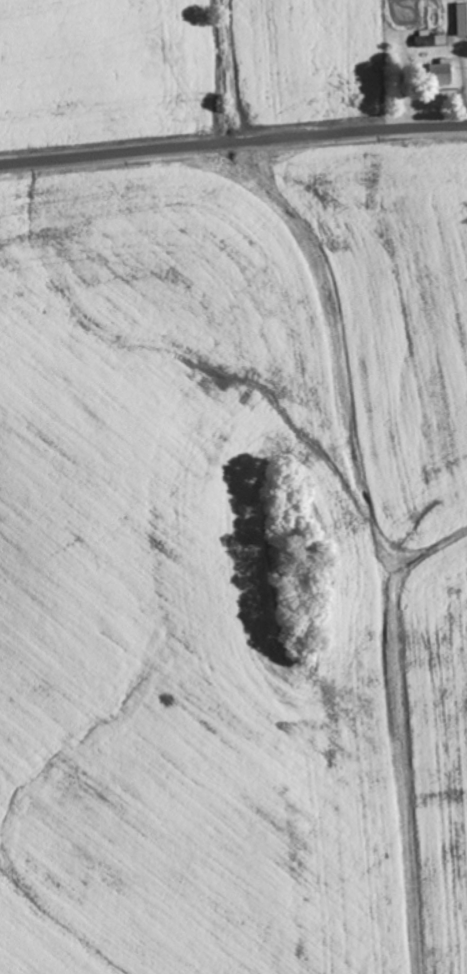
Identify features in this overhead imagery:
building: (460, 22)
road: (233, 142)

